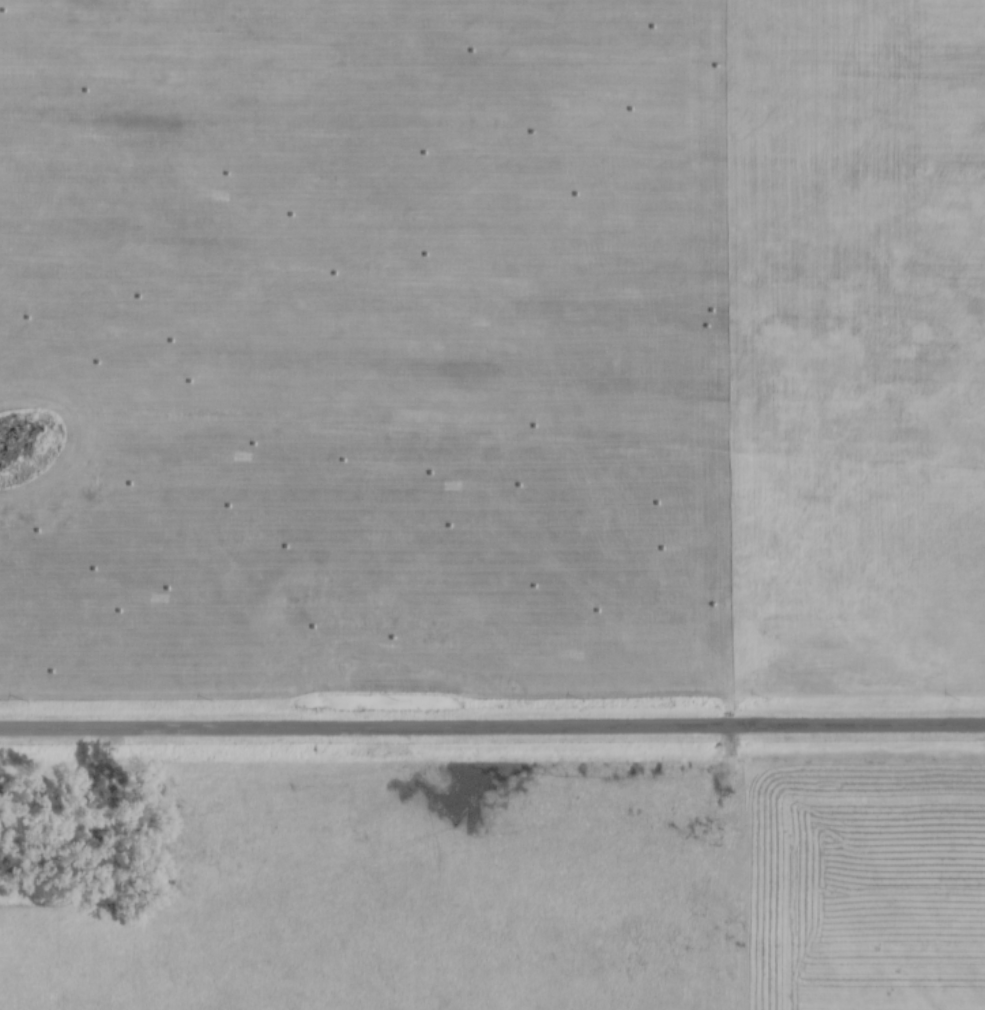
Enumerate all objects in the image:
road: (492, 727)

